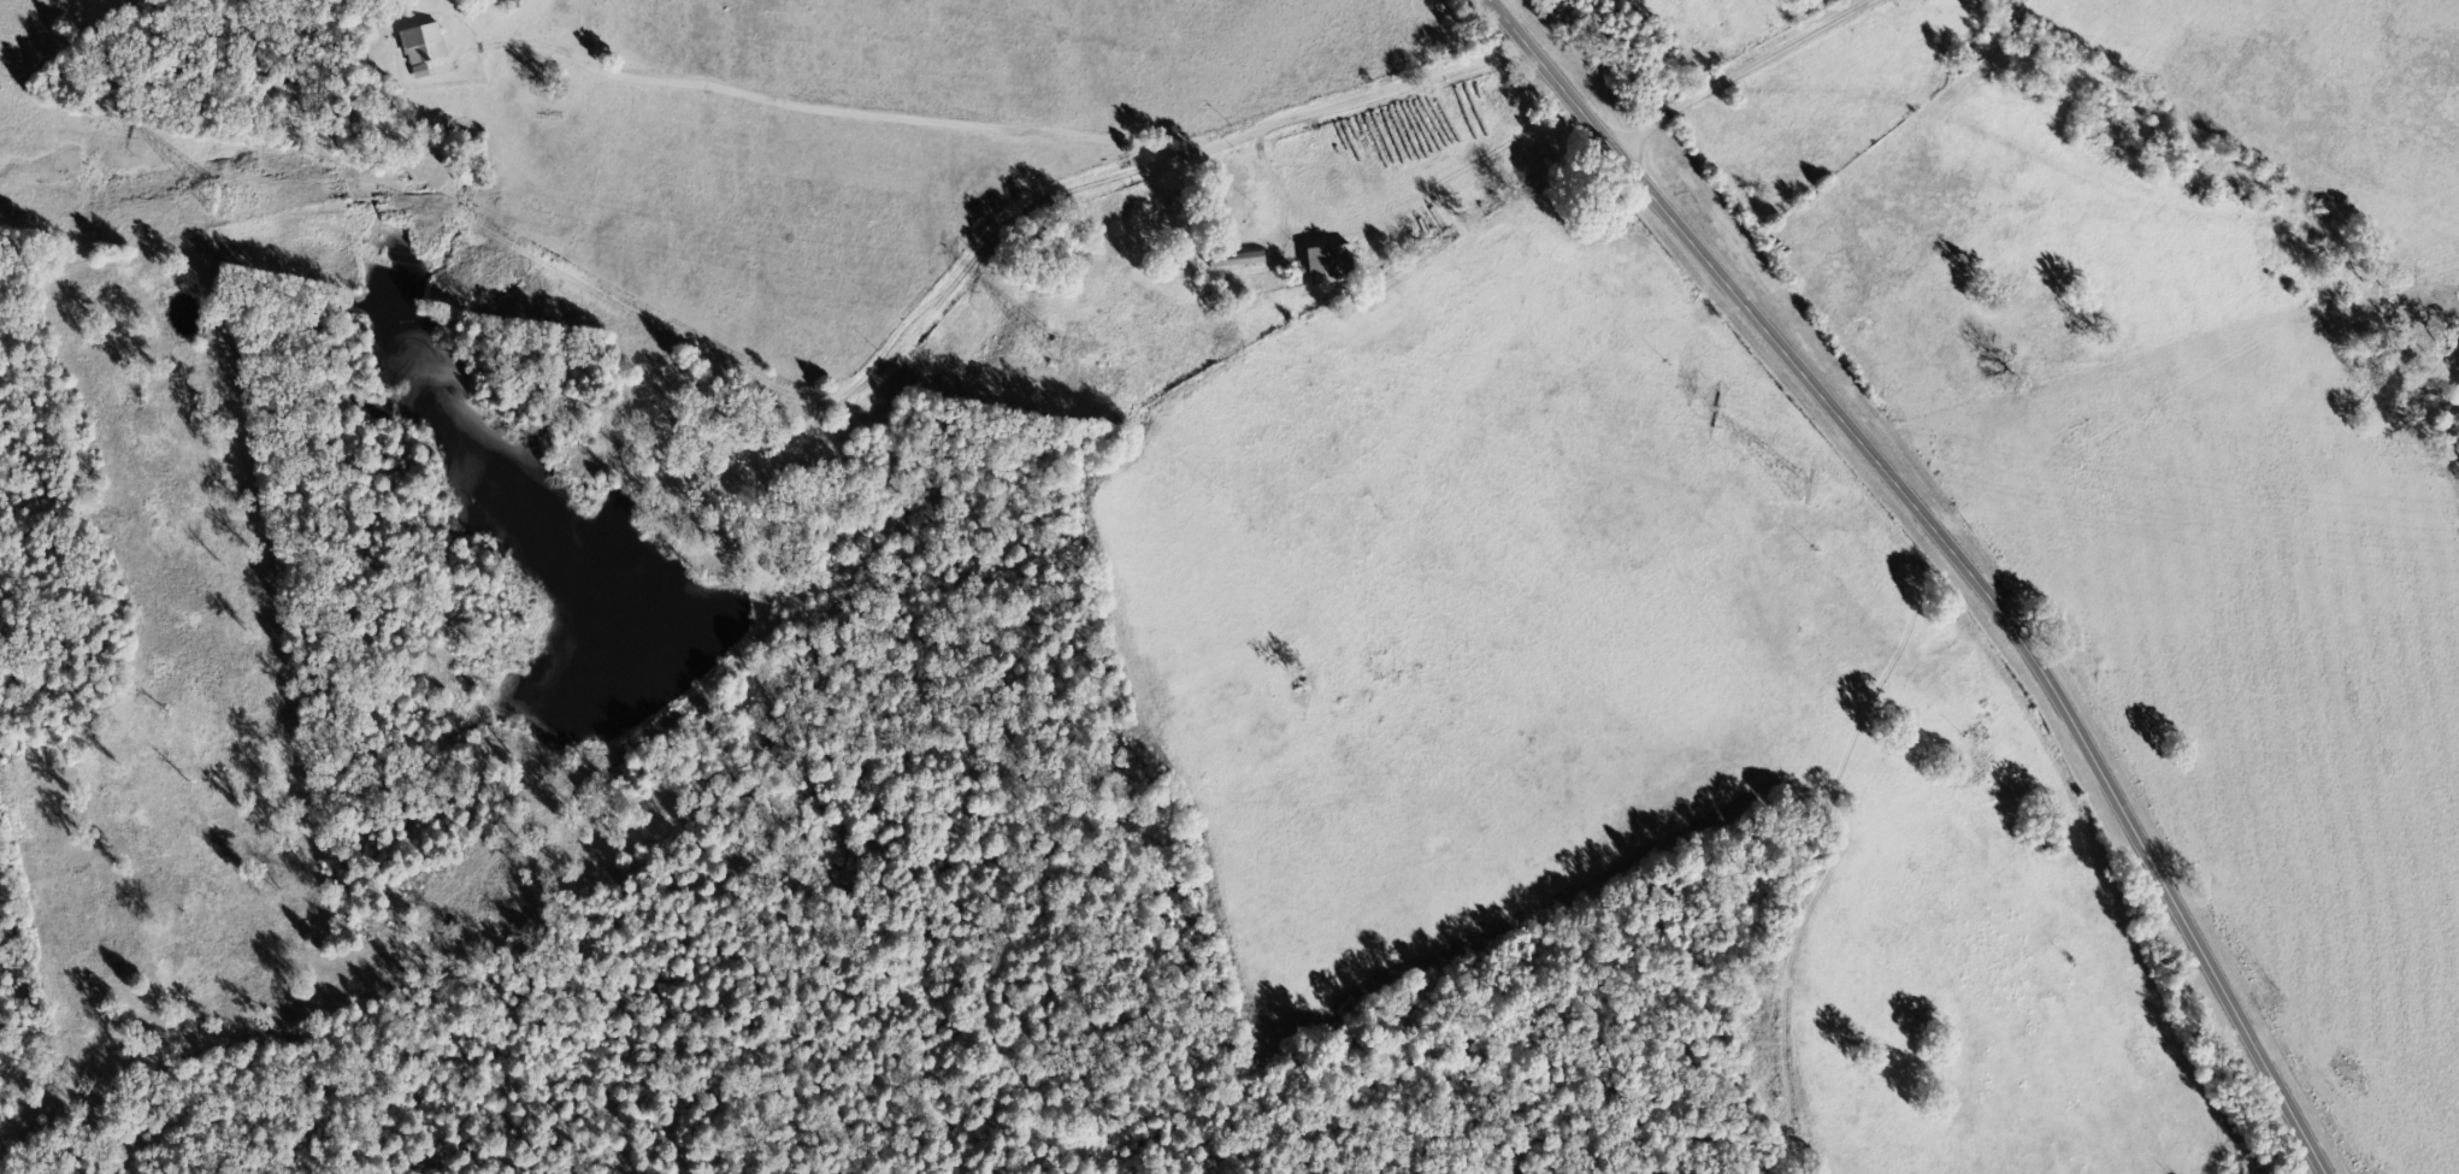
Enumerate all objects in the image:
building: (424, 46)
building: (421, 72)
road: (1220, 128)
road: (2142, 172)
power tower: (247, 203)
building: (1238, 261)
building: (1332, 266)
power tower: (1061, 353)
power tower: (1824, 489)
road: (536, 550)
road: (1953, 554)
road: (409, 627)

